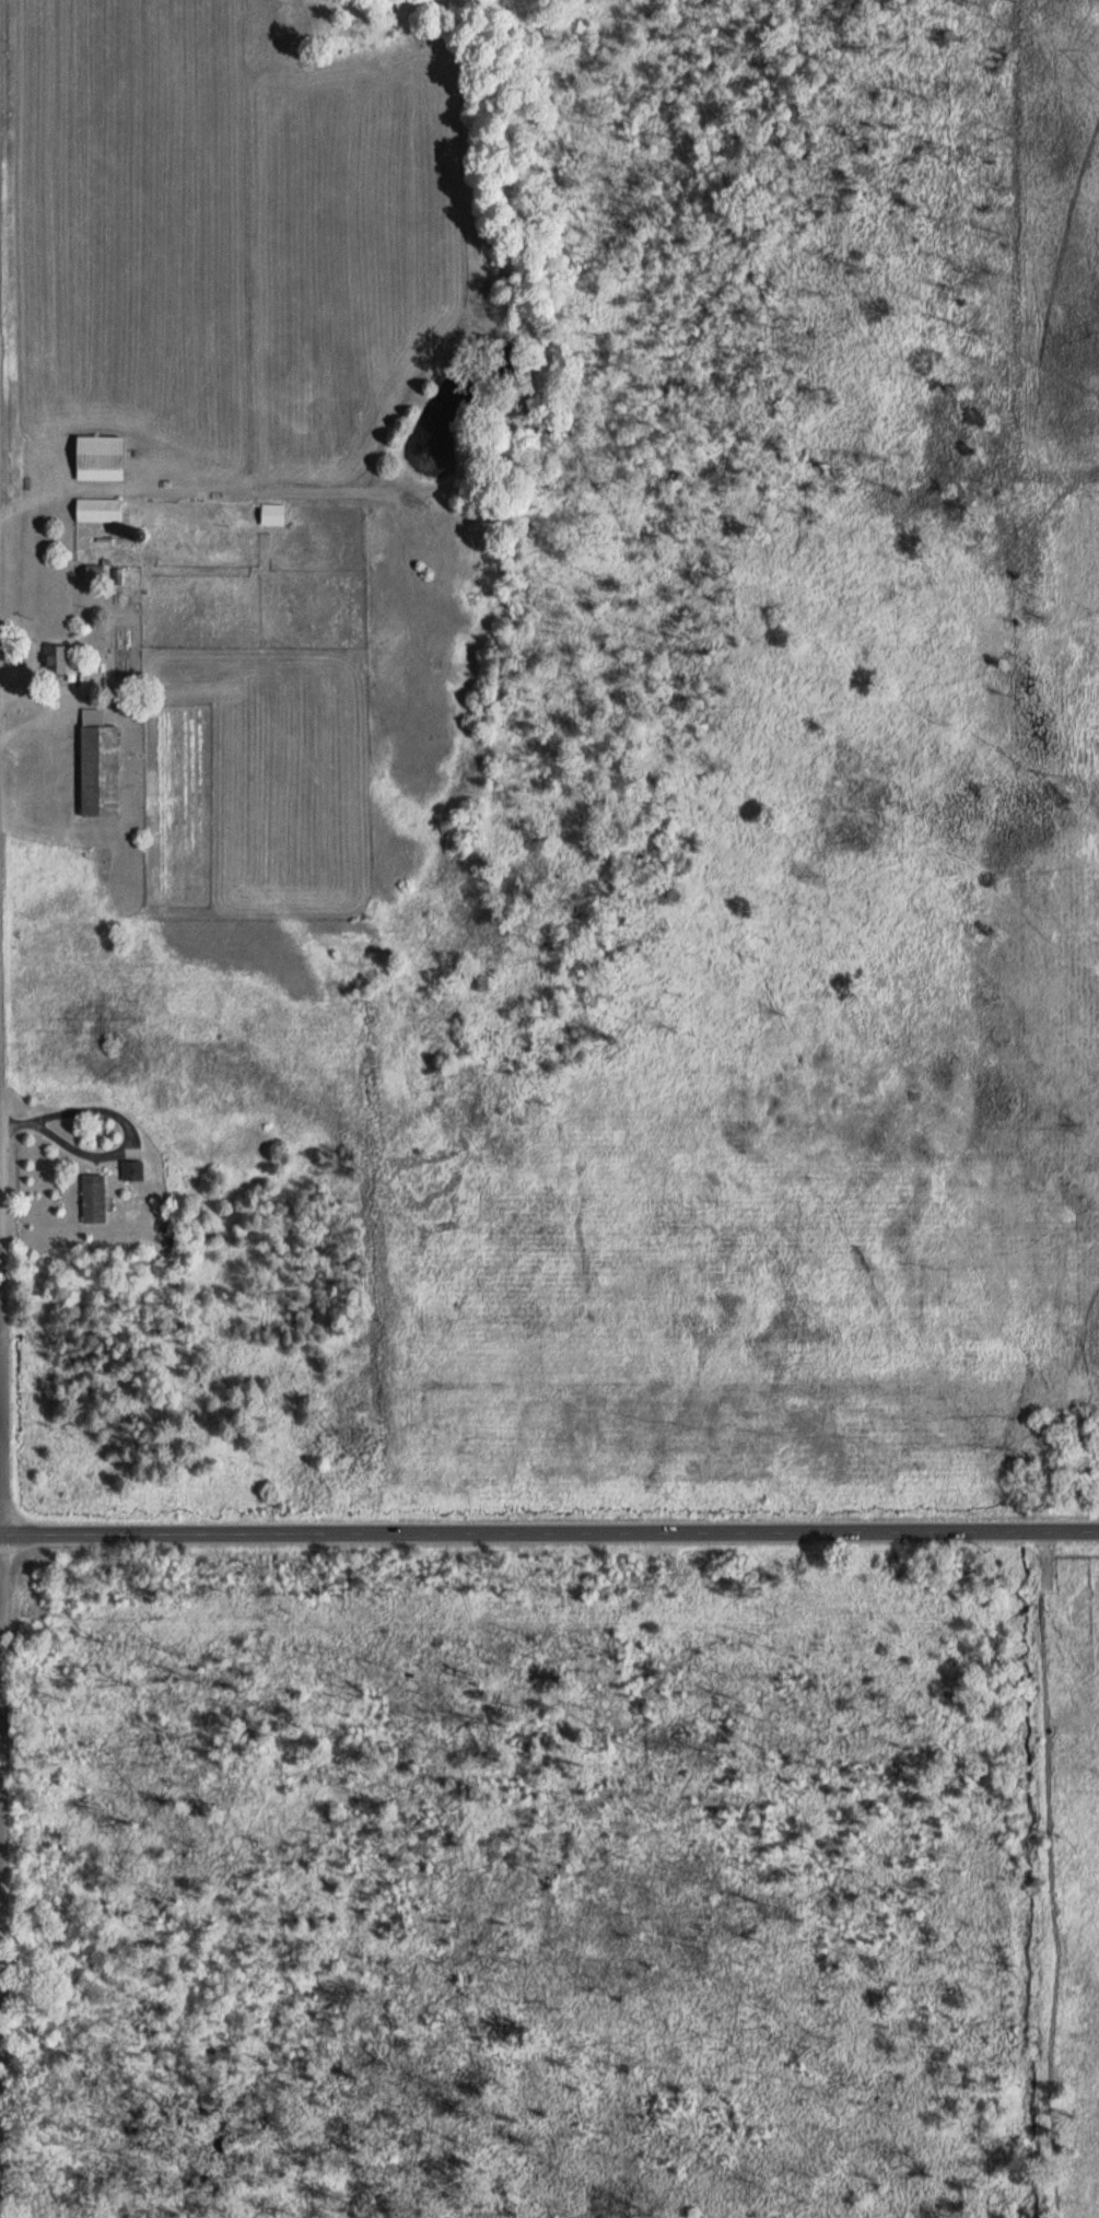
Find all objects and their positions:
building: (98, 457)
building: (97, 509)
building: (271, 513)
building: (57, 656)
building: (97, 763)
building: (132, 1170)
building: (93, 1198)
road: (549, 1532)
road: (0, 1795)
road: (2, 1941)

